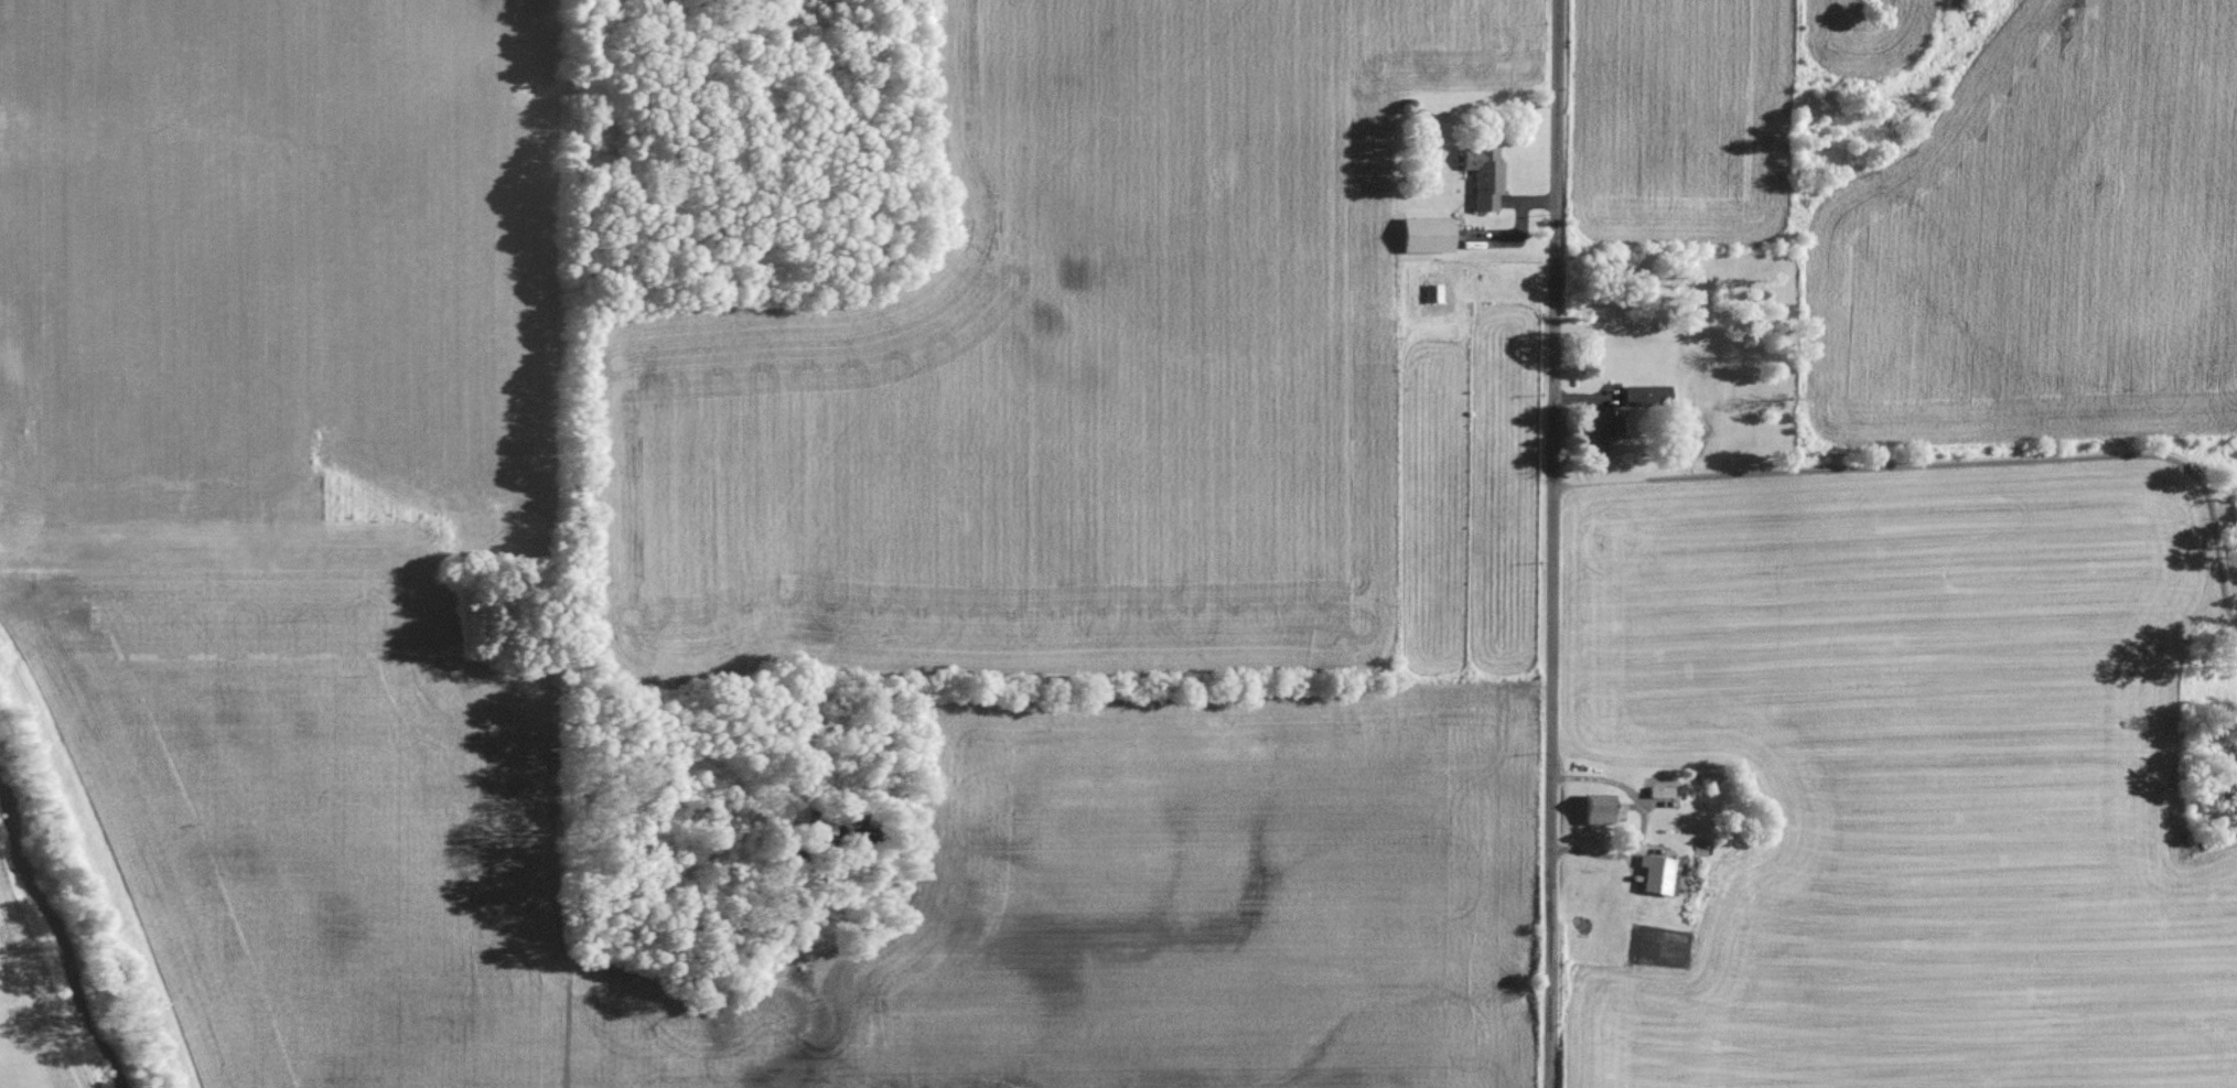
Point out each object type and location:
building: (1481, 174)
building: (1423, 235)
building: (1591, 432)
road: (1958, 465)
road: (1551, 543)
building: (1590, 809)
building: (1654, 875)

